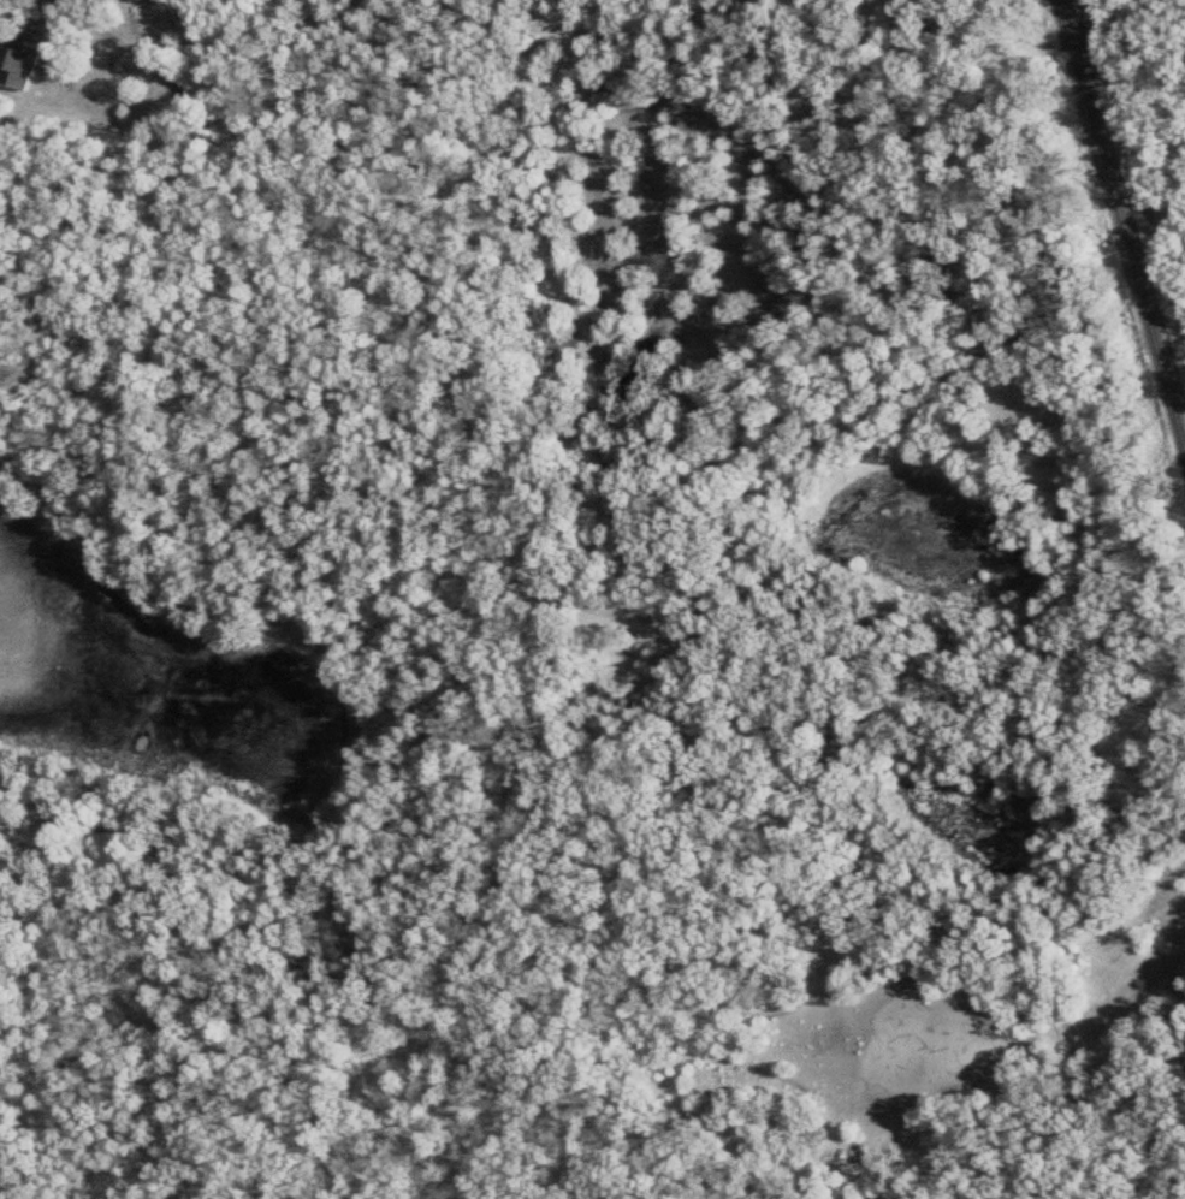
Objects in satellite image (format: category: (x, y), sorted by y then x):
building: (19, 61)
road: (184, 88)
railway: (1120, 231)
road: (411, 315)
road: (340, 630)
road: (870, 664)
road: (494, 902)

